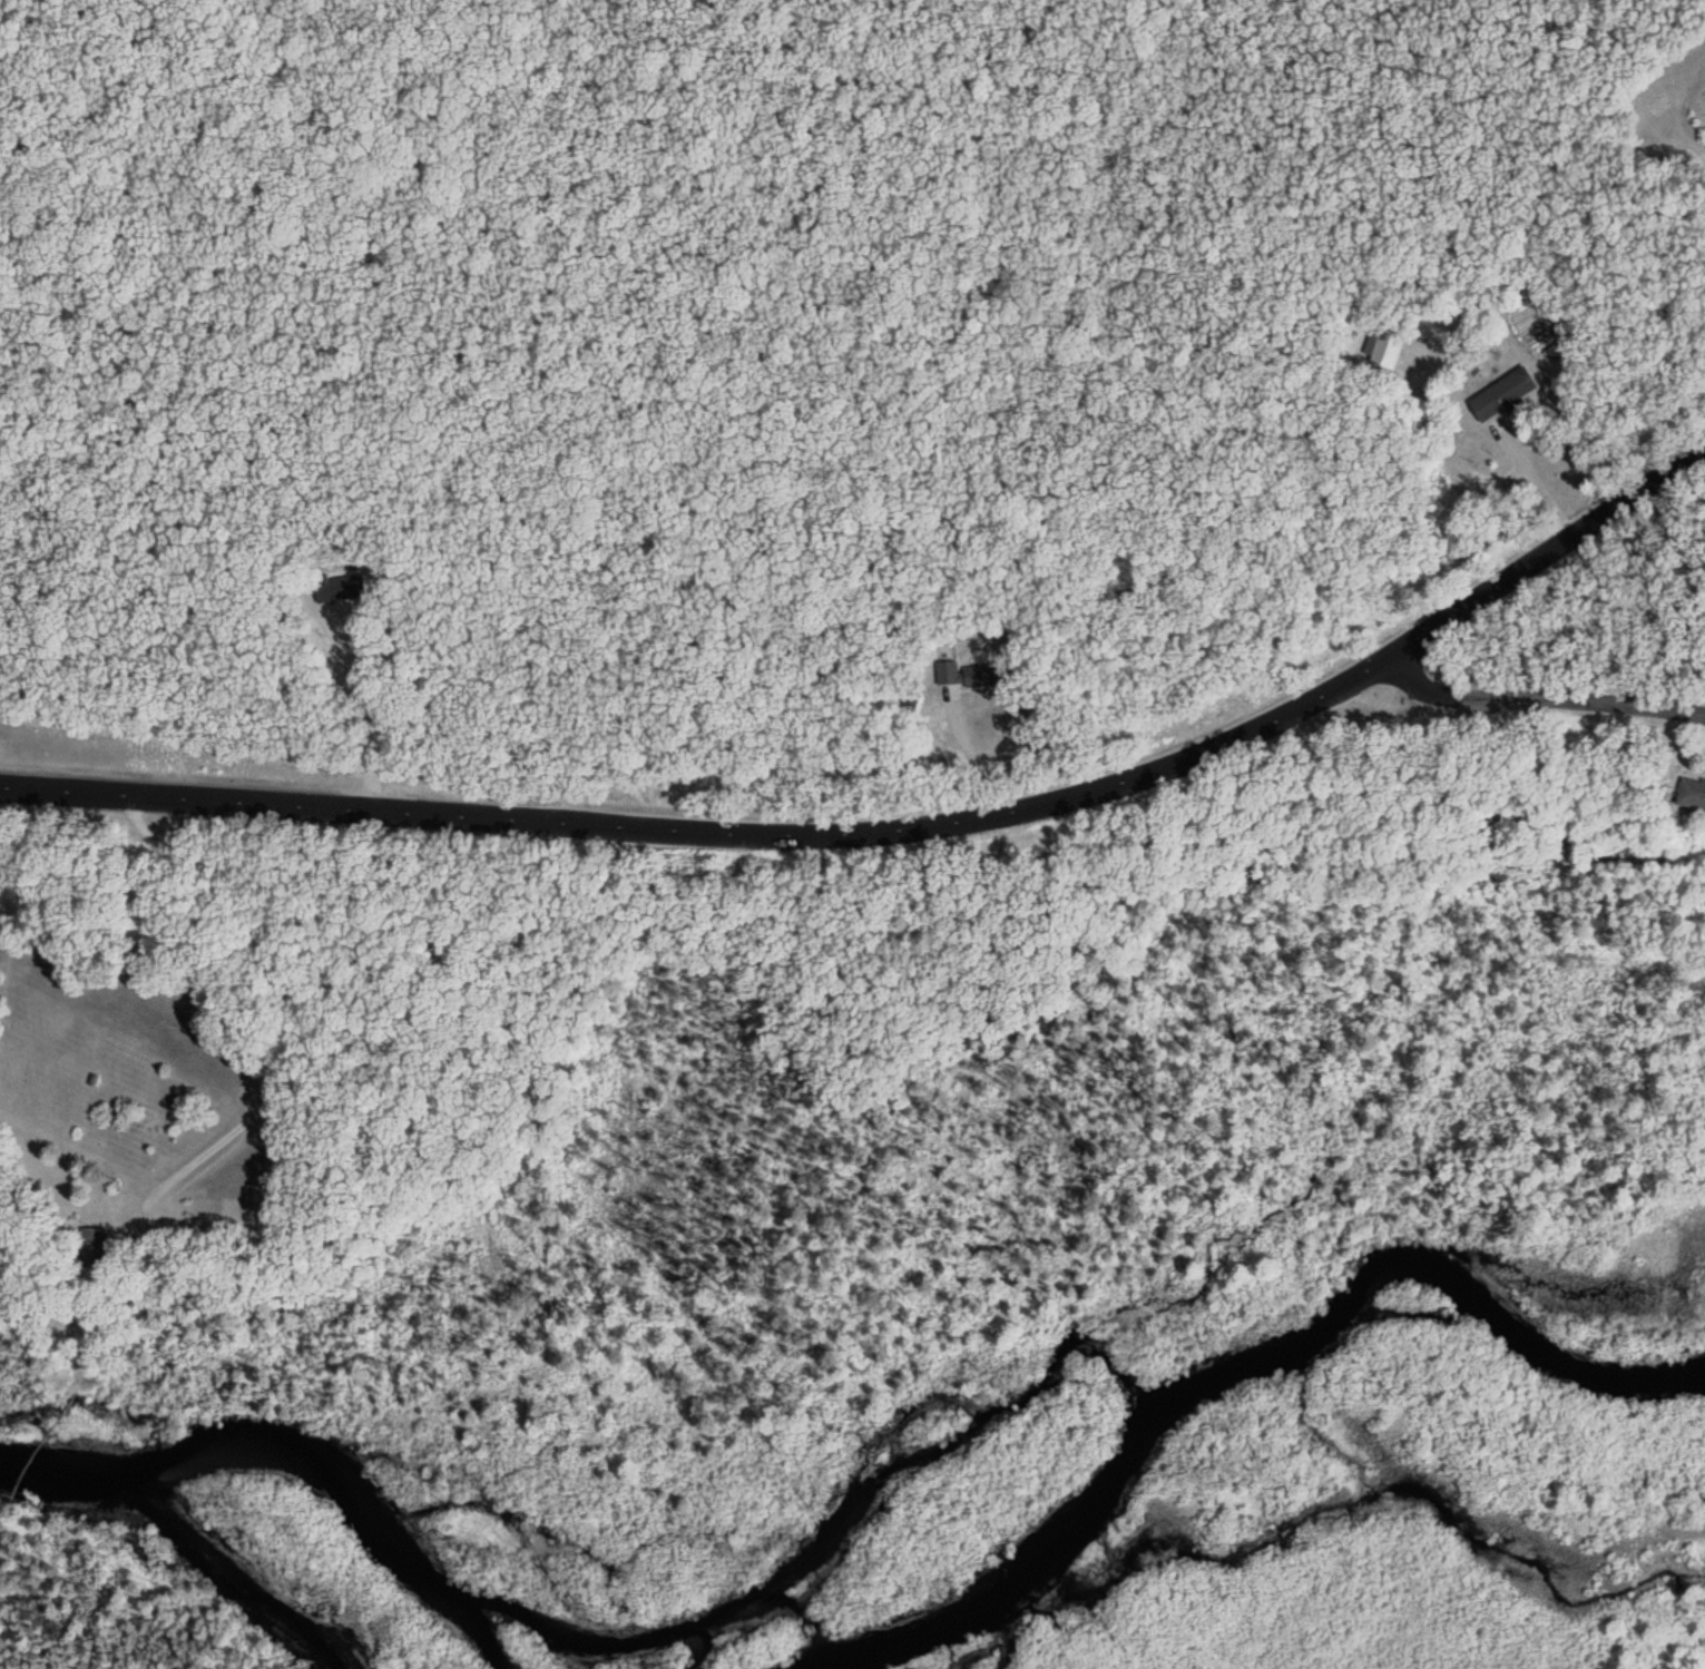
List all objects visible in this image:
building: (1502, 395)
building: (336, 588)
building: (967, 678)
road: (1537, 704)
building: (1692, 796)
road: (901, 835)
road: (282, 991)
building: (92, 1249)
river: (1238, 1364)
river: (291, 1457)

